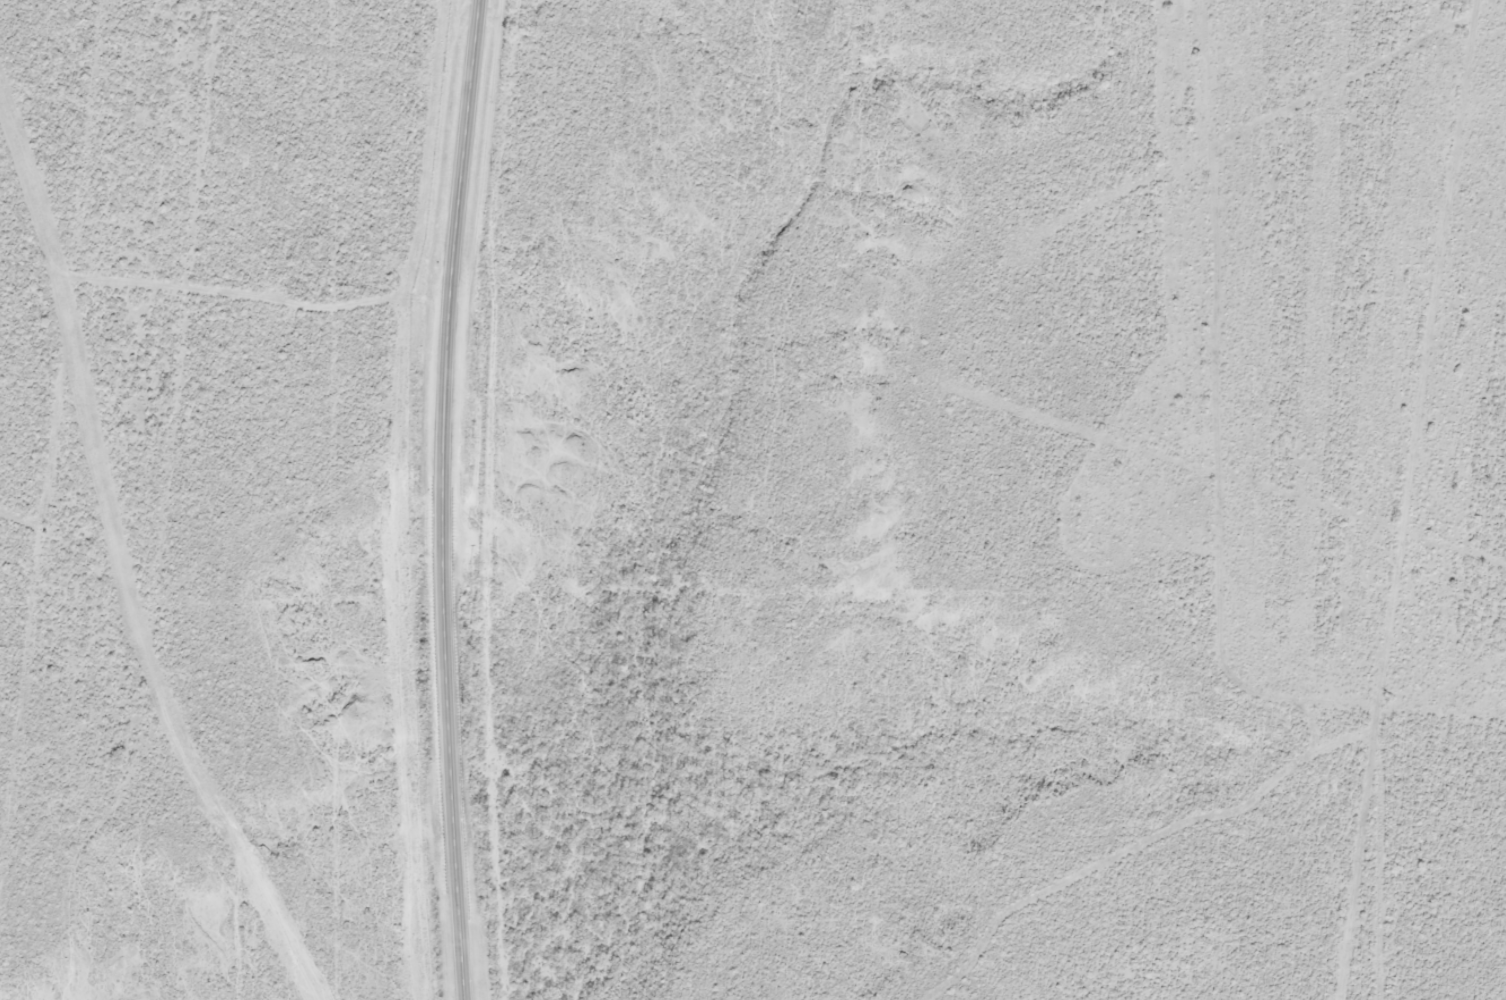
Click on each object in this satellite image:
road: (442, 499)

